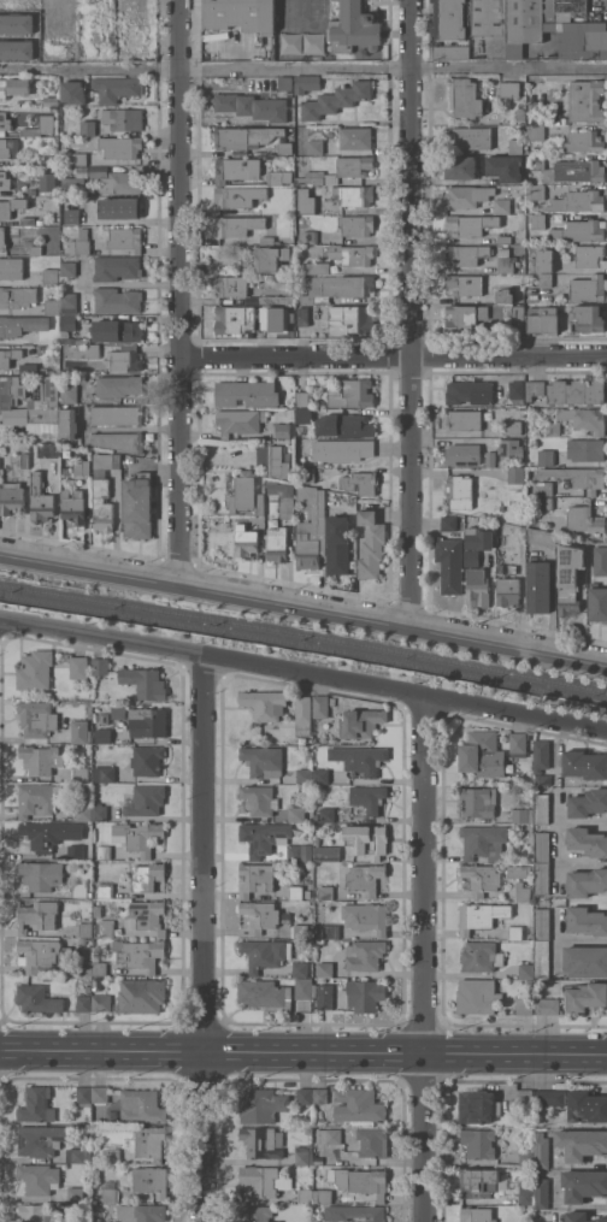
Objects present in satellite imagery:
building: (241, 14)
building: (449, 19)
building: (487, 22)
building: (16, 23)
building: (523, 24)
building: (354, 26)
building: (576, 30)
building: (106, 33)
building: (293, 43)
building: (16, 48)
building: (312, 48)
building: (452, 52)
road: (302, 67)
building: (285, 82)
building: (307, 83)
building: (13, 87)
building: (117, 87)
building: (509, 88)
building: (73, 91)
building: (464, 98)
building: (336, 100)
building: (587, 100)
building: (51, 101)
building: (253, 106)
building: (520, 116)
building: (123, 118)
building: (556, 118)
building: (5, 120)
building: (41, 125)
building: (88, 128)
building: (536, 132)
building: (244, 136)
building: (355, 137)
building: (470, 137)
building: (585, 141)
building: (122, 146)
building: (316, 146)
building: (515, 146)
building: (285, 147)
building: (4, 148)
building: (76, 159)
building: (537, 161)
building: (355, 165)
building: (460, 166)
building: (505, 166)
building: (237, 169)
building: (69, 170)
building: (577, 171)
building: (278, 177)
building: (317, 178)
building: (5, 181)
building: (47, 181)
building: (120, 182)
building: (73, 184)
building: (33, 191)
building: (536, 191)
building: (354, 195)
building: (466, 195)
building: (231, 196)
building: (306, 201)
building: (578, 201)
building: (12, 206)
building: (502, 206)
building: (120, 207)
building: (279, 208)
building: (71, 216)
building: (28, 220)
building: (537, 220)
building: (356, 224)
building: (471, 224)
building: (237, 225)
building: (581, 230)
building: (83, 234)
building: (281, 234)
building: (6, 235)
building: (308, 236)
building: (126, 238)
building: (503, 238)
building: (79, 246)
building: (36, 249)
building: (466, 254)
building: (590, 255)
building: (265, 259)
building: (342, 259)
building: (506, 260)
building: (544, 260)
building: (228, 264)
building: (117, 266)
building: (11, 267)
building: (69, 268)
building: (51, 276)
building: (546, 279)
building: (230, 284)
building: (465, 284)
building: (334, 287)
building: (589, 288)
road: (182, 289)
building: (503, 295)
building: (17, 297)
building: (273, 299)
building: (69, 300)
building: (117, 300)
building: (53, 306)
road: (412, 311)
building: (518, 312)
building: (302, 315)
building: (284, 317)
building: (465, 317)
building: (235, 318)
building: (272, 318)
building: (350, 318)
building: (588, 318)
building: (543, 319)
building: (22, 325)
building: (71, 330)
building: (117, 330)
building: (71, 348)
building: (89, 350)
building: (10, 355)
road: (395, 355)
building: (125, 358)
building: (29, 367)
building: (43, 370)
building: (119, 385)
building: (70, 388)
building: (49, 389)
building: (535, 389)
building: (10, 390)
building: (468, 391)
building: (576, 391)
building: (247, 392)
building: (517, 392)
building: (353, 394)
building: (302, 397)
building: (117, 414)
building: (302, 415)
building: (584, 418)
building: (42, 419)
building: (464, 419)
building: (240, 421)
building: (69, 424)
building: (344, 425)
building: (511, 426)
building: (552, 427)
road: (124, 429)
building: (283, 429)
building: (119, 441)
building: (511, 448)
building: (48, 449)
building: (342, 449)
building: (587, 449)
building: (464, 454)
building: (546, 457)
building: (490, 459)
building: (25, 460)
building: (106, 460)
building: (273, 460)
building: (82, 467)
building: (307, 476)
building: (517, 477)
building: (578, 477)
building: (360, 482)
building: (544, 488)
building: (459, 490)
building: (243, 491)
building: (283, 497)
building: (11, 498)
building: (40, 498)
building: (547, 502)
building: (260, 503)
building: (102, 504)
building: (73, 506)
building: (139, 506)
building: (585, 519)
building: (449, 523)
building: (312, 529)
building: (542, 537)
building: (246, 539)
building: (277, 541)
building: (477, 543)
building: (337, 544)
building: (371, 544)
building: (583, 557)
building: (601, 560)
building: (450, 563)
building: (500, 568)
building: (538, 586)
building: (477, 588)
building: (508, 590)
building: (567, 592)
road: (303, 601)
building: (597, 601)
railway: (303, 633)
railway: (303, 645)
building: (101, 666)
building: (79, 667)
building: (35, 669)
road: (303, 671)
building: (145, 681)
railway: (538, 696)
building: (265, 703)
building: (323, 704)
building: (119, 712)
building: (303, 715)
building: (37, 718)
building: (104, 718)
building: (148, 721)
building: (361, 721)
building: (79, 731)
building: (104, 734)
building: (302, 739)
building: (518, 743)
building: (482, 754)
building: (541, 755)
building: (308, 757)
building: (360, 757)
building: (41, 758)
building: (147, 760)
building: (263, 760)
building: (584, 763)
building: (81, 773)
building: (105, 773)
building: (305, 775)
building: (322, 775)
building: (542, 779)
building: (369, 797)
building: (36, 798)
building: (146, 799)
building: (259, 799)
building: (478, 801)
building: (588, 803)
building: (542, 808)
building: (100, 810)
building: (84, 813)
building: (299, 814)
building: (328, 814)
building: (524, 815)
building: (51, 833)
building: (139, 836)
building: (264, 837)
building: (367, 839)
building: (588, 840)
building: (484, 842)
building: (542, 848)
building: (76, 851)
building: (105, 851)
building: (294, 852)
building: (326, 852)
building: (518, 870)
building: (40, 875)
building: (148, 875)
building: (255, 878)
building: (365, 878)
building: (481, 878)
building: (542, 878)
building: (587, 881)
building: (81, 889)
building: (105, 890)
building: (295, 891)
building: (325, 892)
building: (521, 892)
building: (36, 915)
building: (147, 915)
building: (259, 915)
building: (366, 916)
building: (475, 917)
building: (587, 920)
building: (542, 923)
building: (86, 929)
building: (104, 929)
building: (301, 929)
building: (326, 931)
building: (520, 932)
road: (205, 935)
building: (82, 939)
building: (265, 952)
building: (42, 954)
building: (140, 954)
building: (365, 954)
building: (482, 956)
road: (423, 957)
building: (542, 958)
building: (585, 961)
building: (86, 968)
building: (100, 968)
building: (300, 969)
building: (325, 969)
building: (526, 970)
building: (46, 976)
building: (98, 981)
building: (303, 987)
building: (265, 993)
building: (142, 994)
building: (363, 994)
building: (478, 996)
building: (587, 996)
building: (324, 997)
building: (37, 998)
building: (83, 1003)
building: (102, 1003)
building: (525, 1005)
building: (548, 1005)
road: (303, 1050)
building: (335, 1086)
building: (100, 1093)
building: (82, 1094)
building: (305, 1094)
building: (320, 1094)
building: (525, 1097)
building: (550, 1097)
building: (261, 1104)
building: (40, 1105)
building: (141, 1105)
building: (359, 1105)
building: (478, 1105)
building: (587, 1105)
building: (112, 1116)
building: (330, 1135)
building: (39, 1140)
building: (149, 1141)
building: (263, 1141)
building: (372, 1141)
building: (479, 1143)
building: (582, 1143)
building: (531, 1147)
building: (542, 1149)
building: (76, 1155)
building: (113, 1155)
building: (305, 1155)
building: (528, 1157)
building: (39, 1177)
building: (151, 1180)
building: (263, 1180)
building: (359, 1180)
building: (493, 1183)
building: (583, 1183)
building: (542, 1192)
building: (75, 1193)
building: (110, 1193)
building: (305, 1194)
building: (323, 1196)
building: (36, 1212)
building: (141, 1212)
building: (257, 1212)
building: (355, 1212)
building: (477, 1214)
building: (583, 1217)
building: (106, 1220)
building: (542, 1221)

